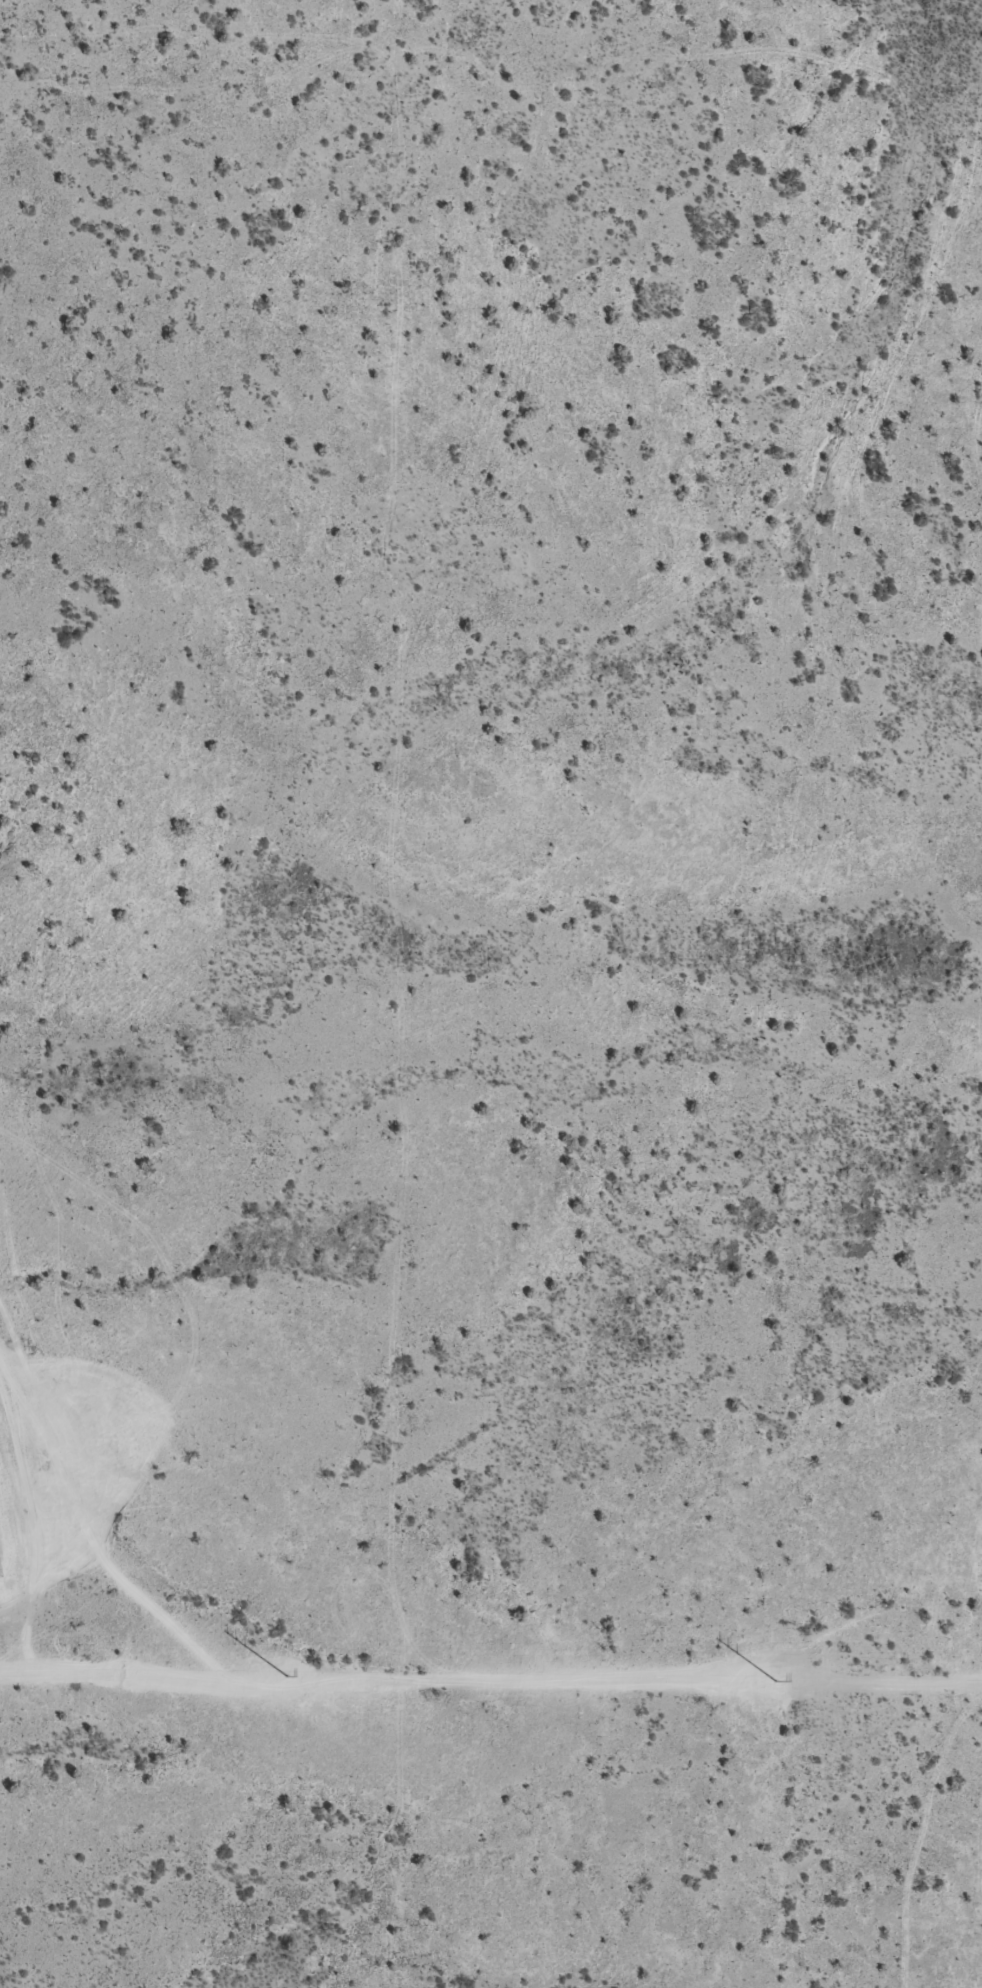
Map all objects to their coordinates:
power tower: (269, 1679)
power tower: (763, 1684)

